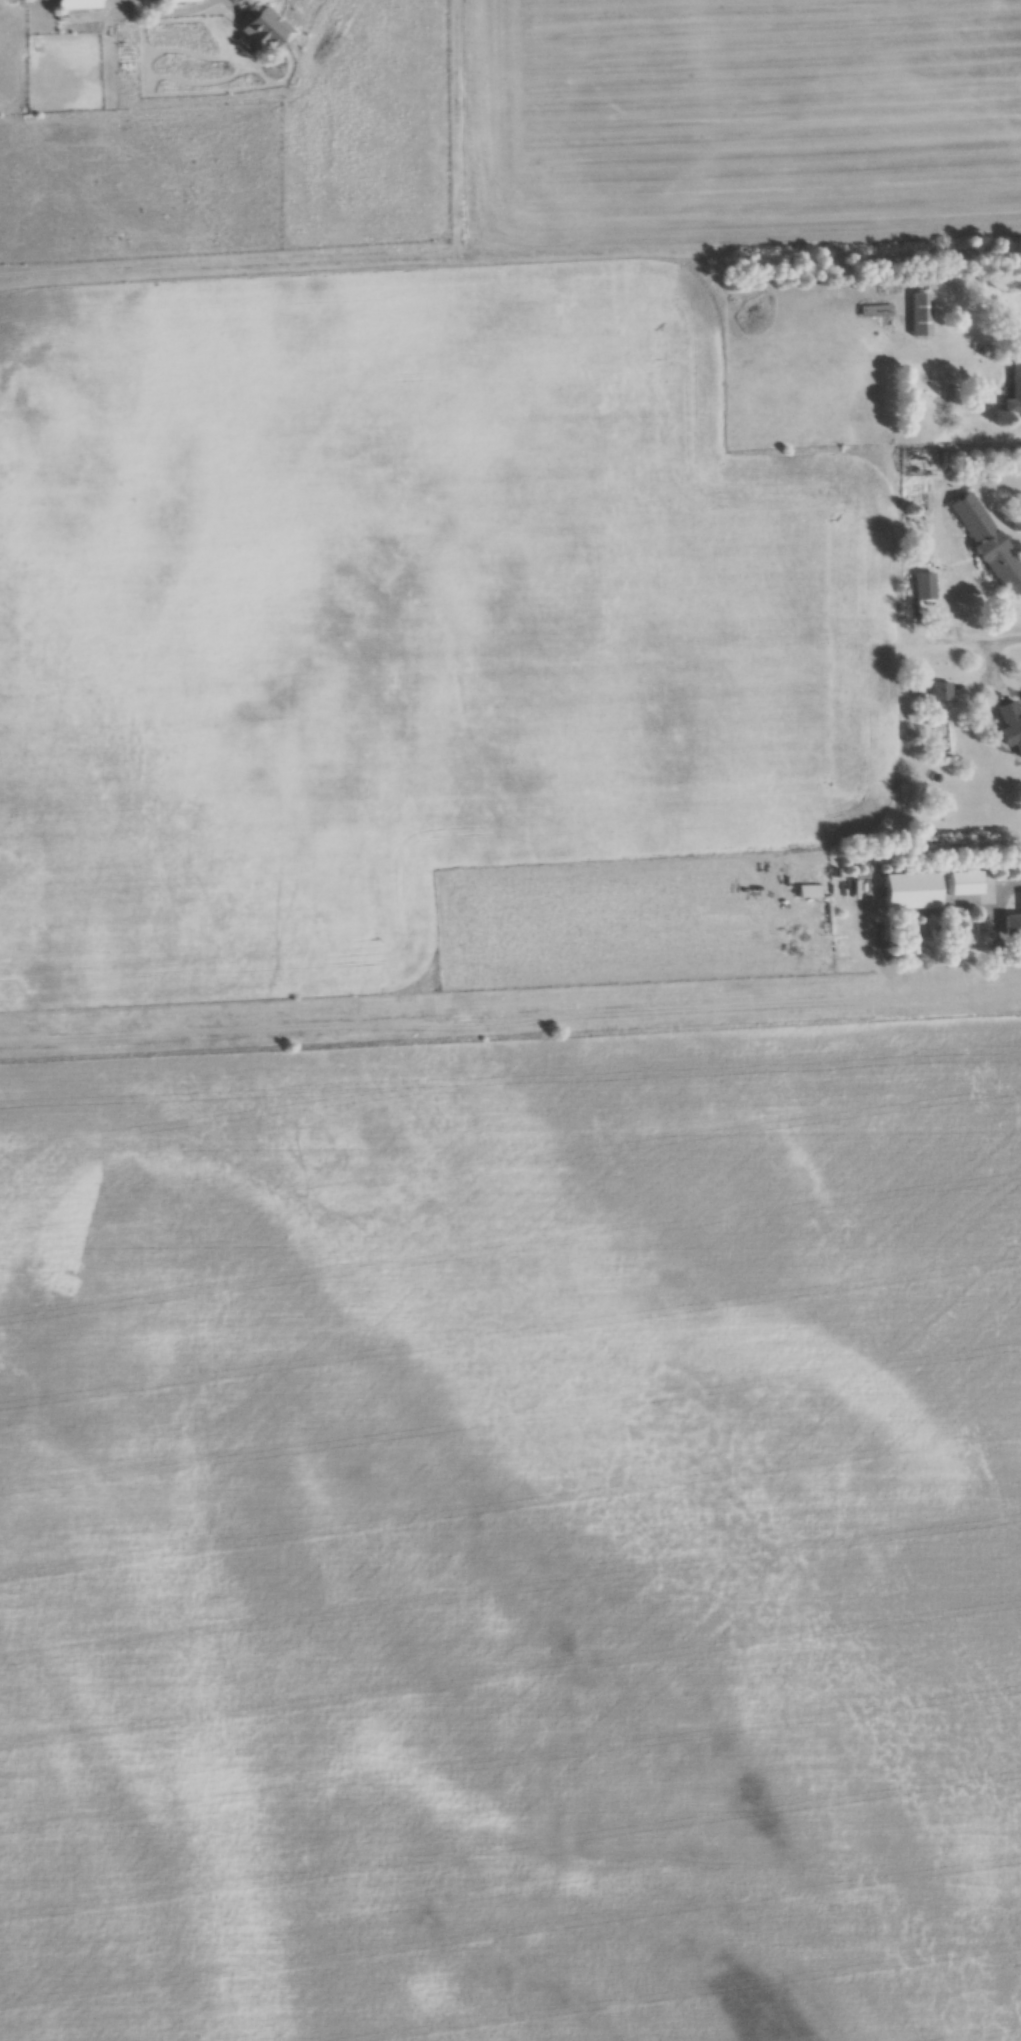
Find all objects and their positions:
building: (172, 1)
building: (74, 5)
building: (262, 30)
building: (876, 312)
building: (920, 316)
building: (1013, 389)
building: (985, 543)
building: (922, 587)
road: (1000, 638)
building: (958, 688)
building: (940, 692)
building: (1009, 726)
building: (962, 883)
building: (909, 891)
building: (1011, 926)

